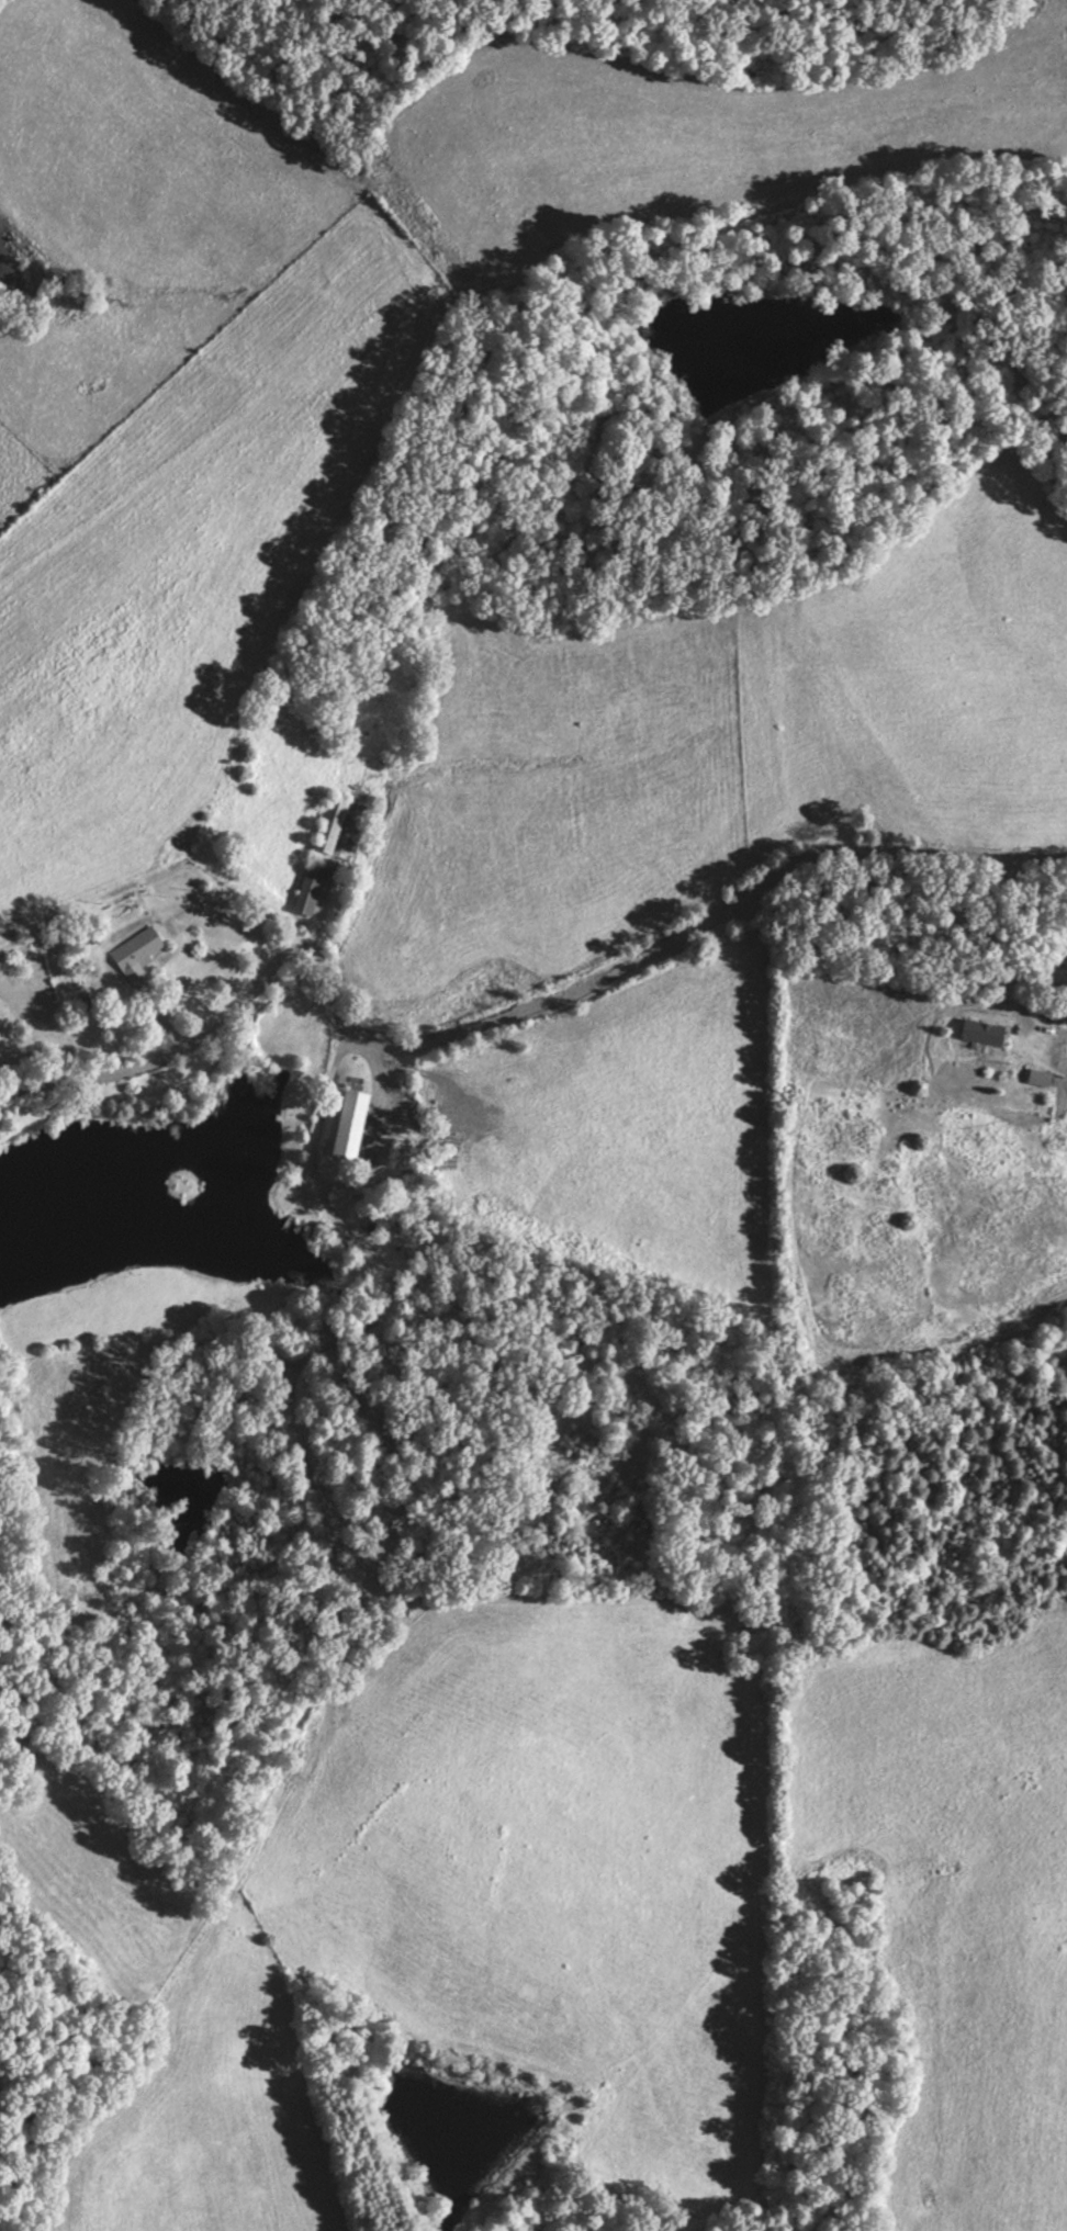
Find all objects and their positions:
building: (333, 823)
building: (312, 889)
building: (138, 954)
road: (507, 1007)
building: (978, 1033)
building: (352, 1124)

